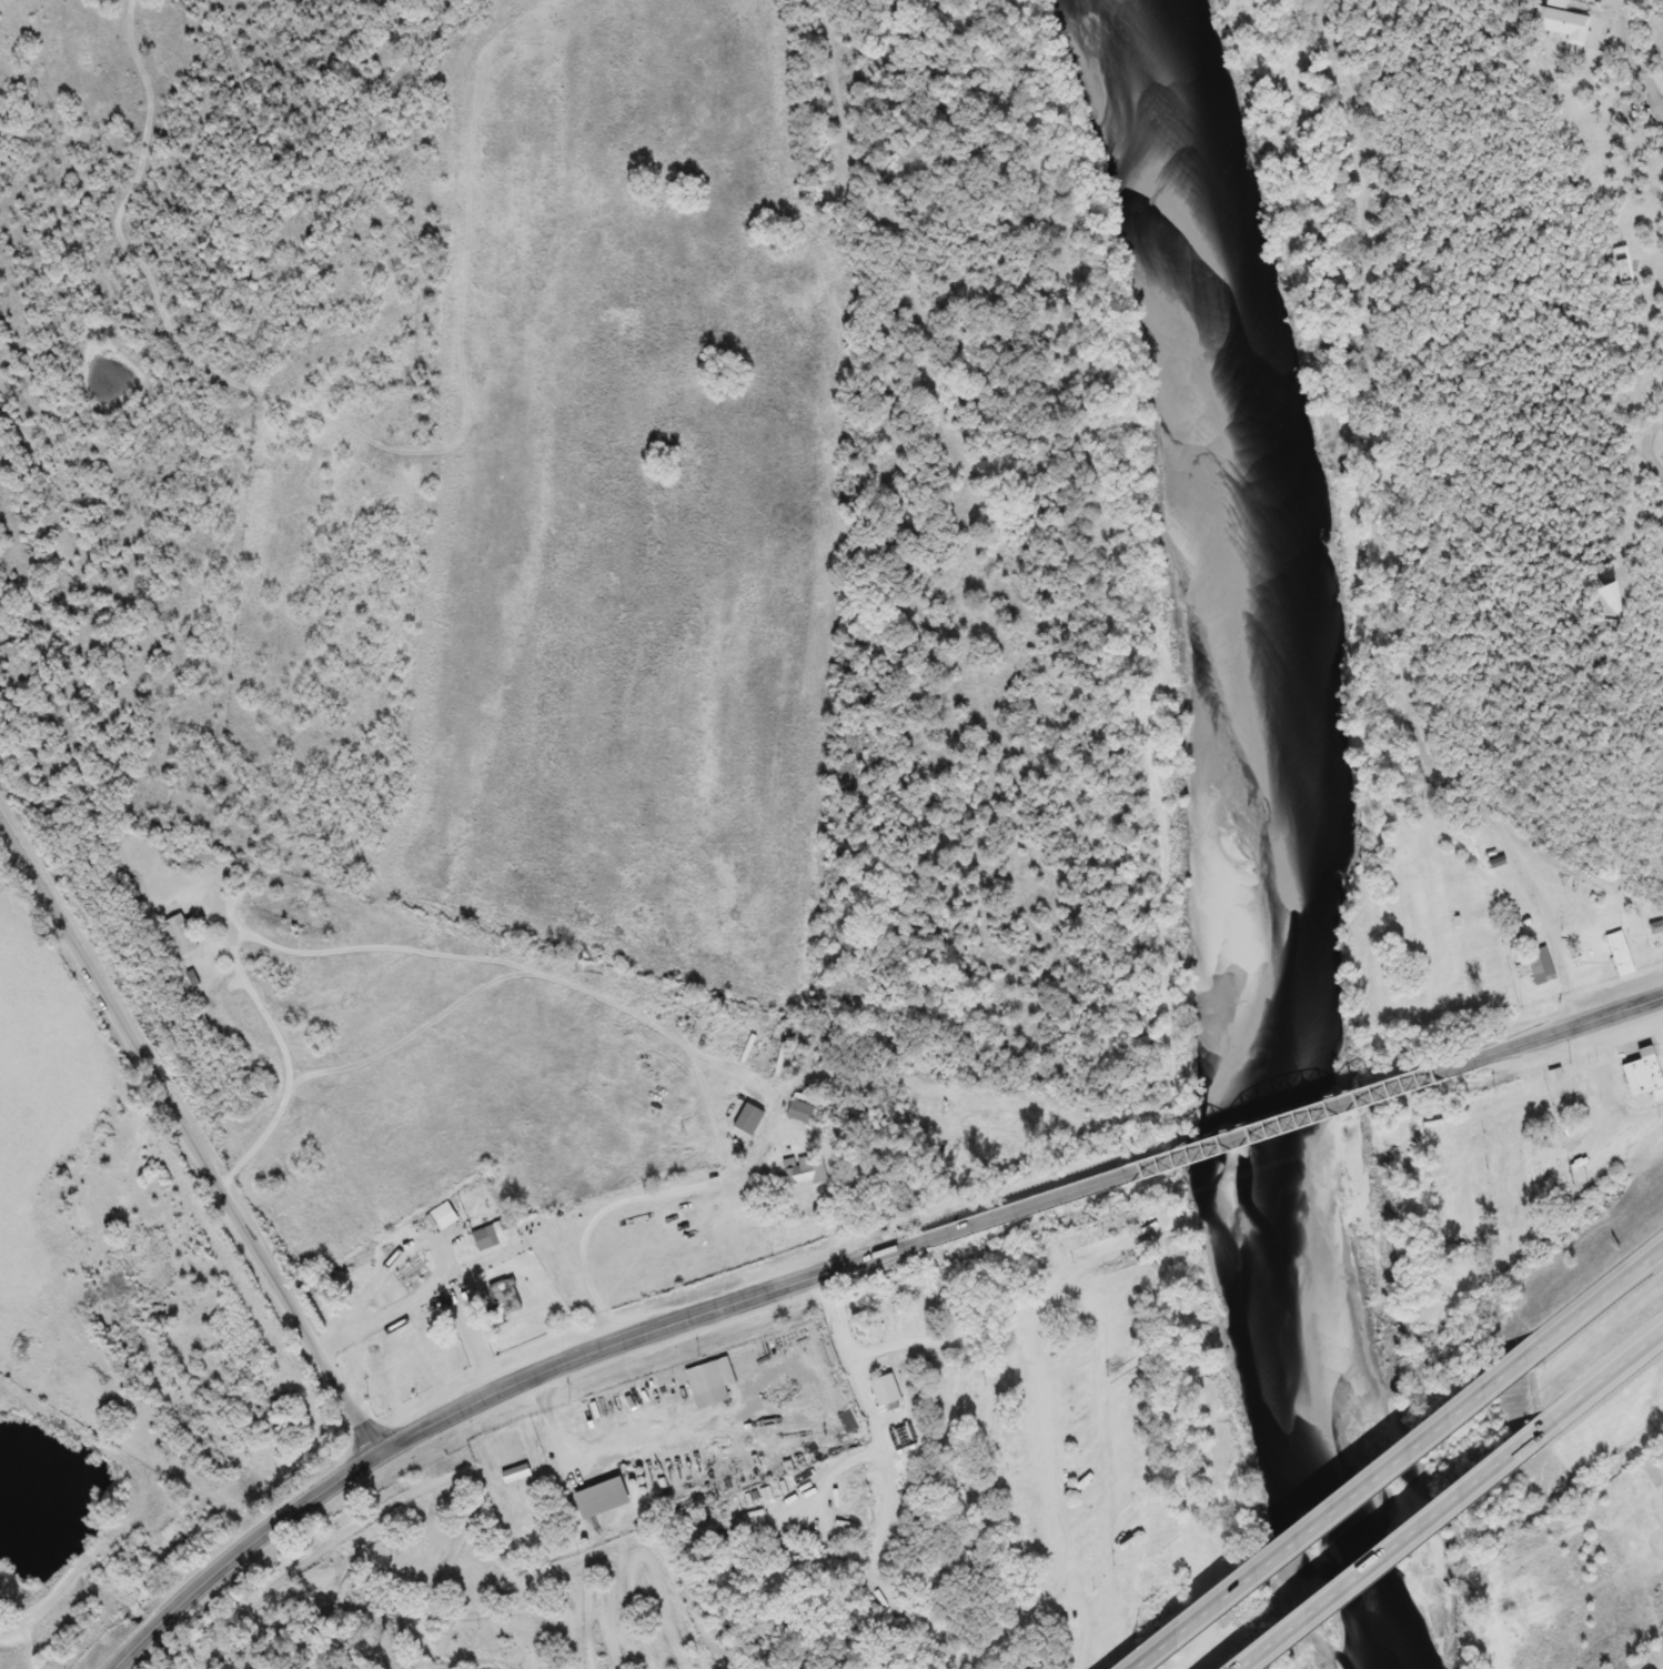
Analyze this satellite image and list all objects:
building: (1555, 22)
road: (1609, 131)
road: (1633, 433)
road: (1397, 520)
building: (1475, 827)
river: (1282, 846)
building: (1501, 882)
road: (1548, 928)
building: (1520, 932)
building: (181, 936)
building: (1615, 956)
building: (1535, 966)
road: (1542, 1036)
road: (682, 1045)
building: (745, 1049)
building: (776, 1064)
road: (290, 1075)
building: (1635, 1075)
building: (797, 1112)
building: (744, 1119)
road: (189, 1129)
road: (1162, 1163)
building: (803, 1173)
building: (436, 1211)
building: (492, 1235)
road: (440, 1283)
building: (496, 1301)
road: (1558, 1325)
road: (1573, 1395)
road: (1105, 1401)
road: (483, 1407)
road: (1288, 1537)
road: (1355, 1566)

